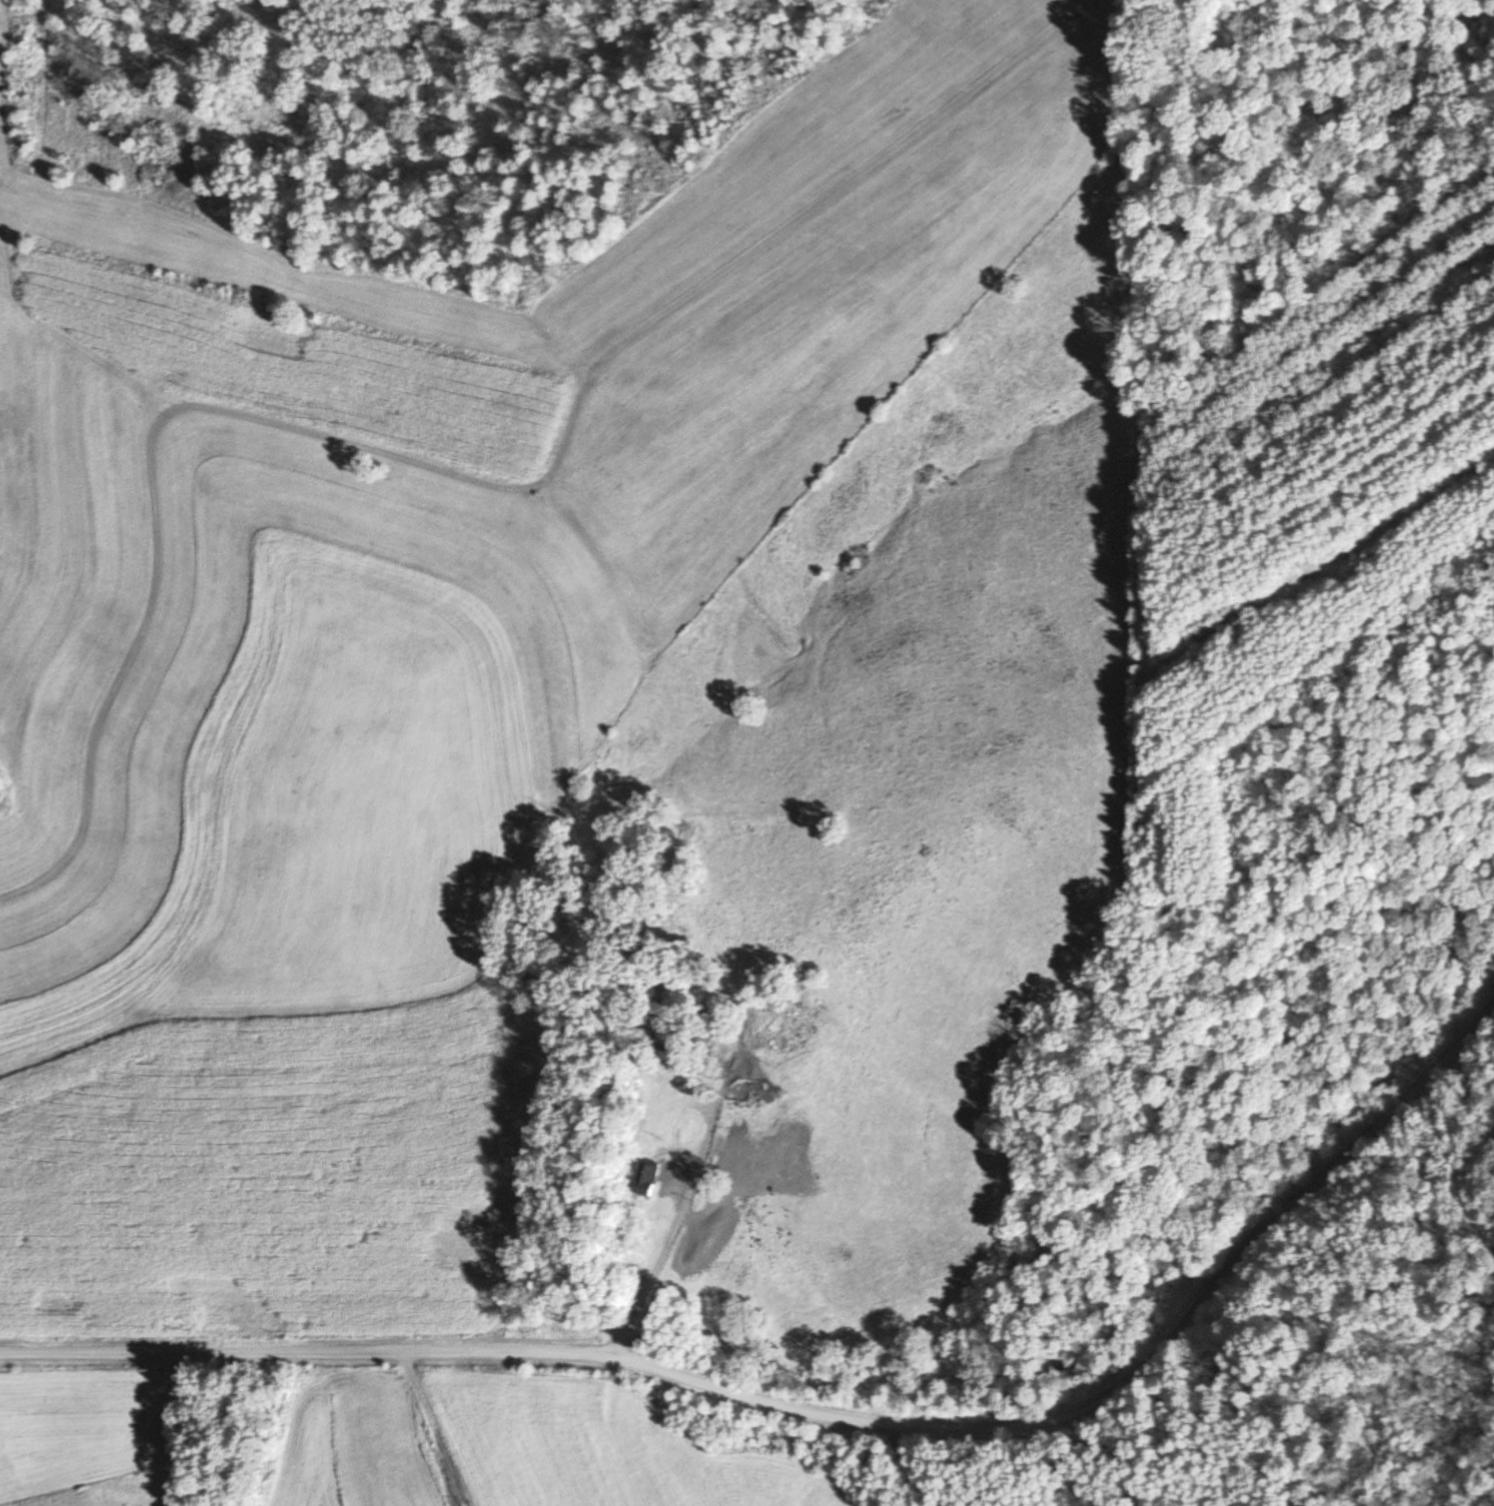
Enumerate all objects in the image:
road: (623, 340)
road: (145, 532)
dam: (774, 628)
building: (665, 1075)
building: (692, 1089)
building: (647, 1178)
road: (675, 1223)
road: (827, 1420)

